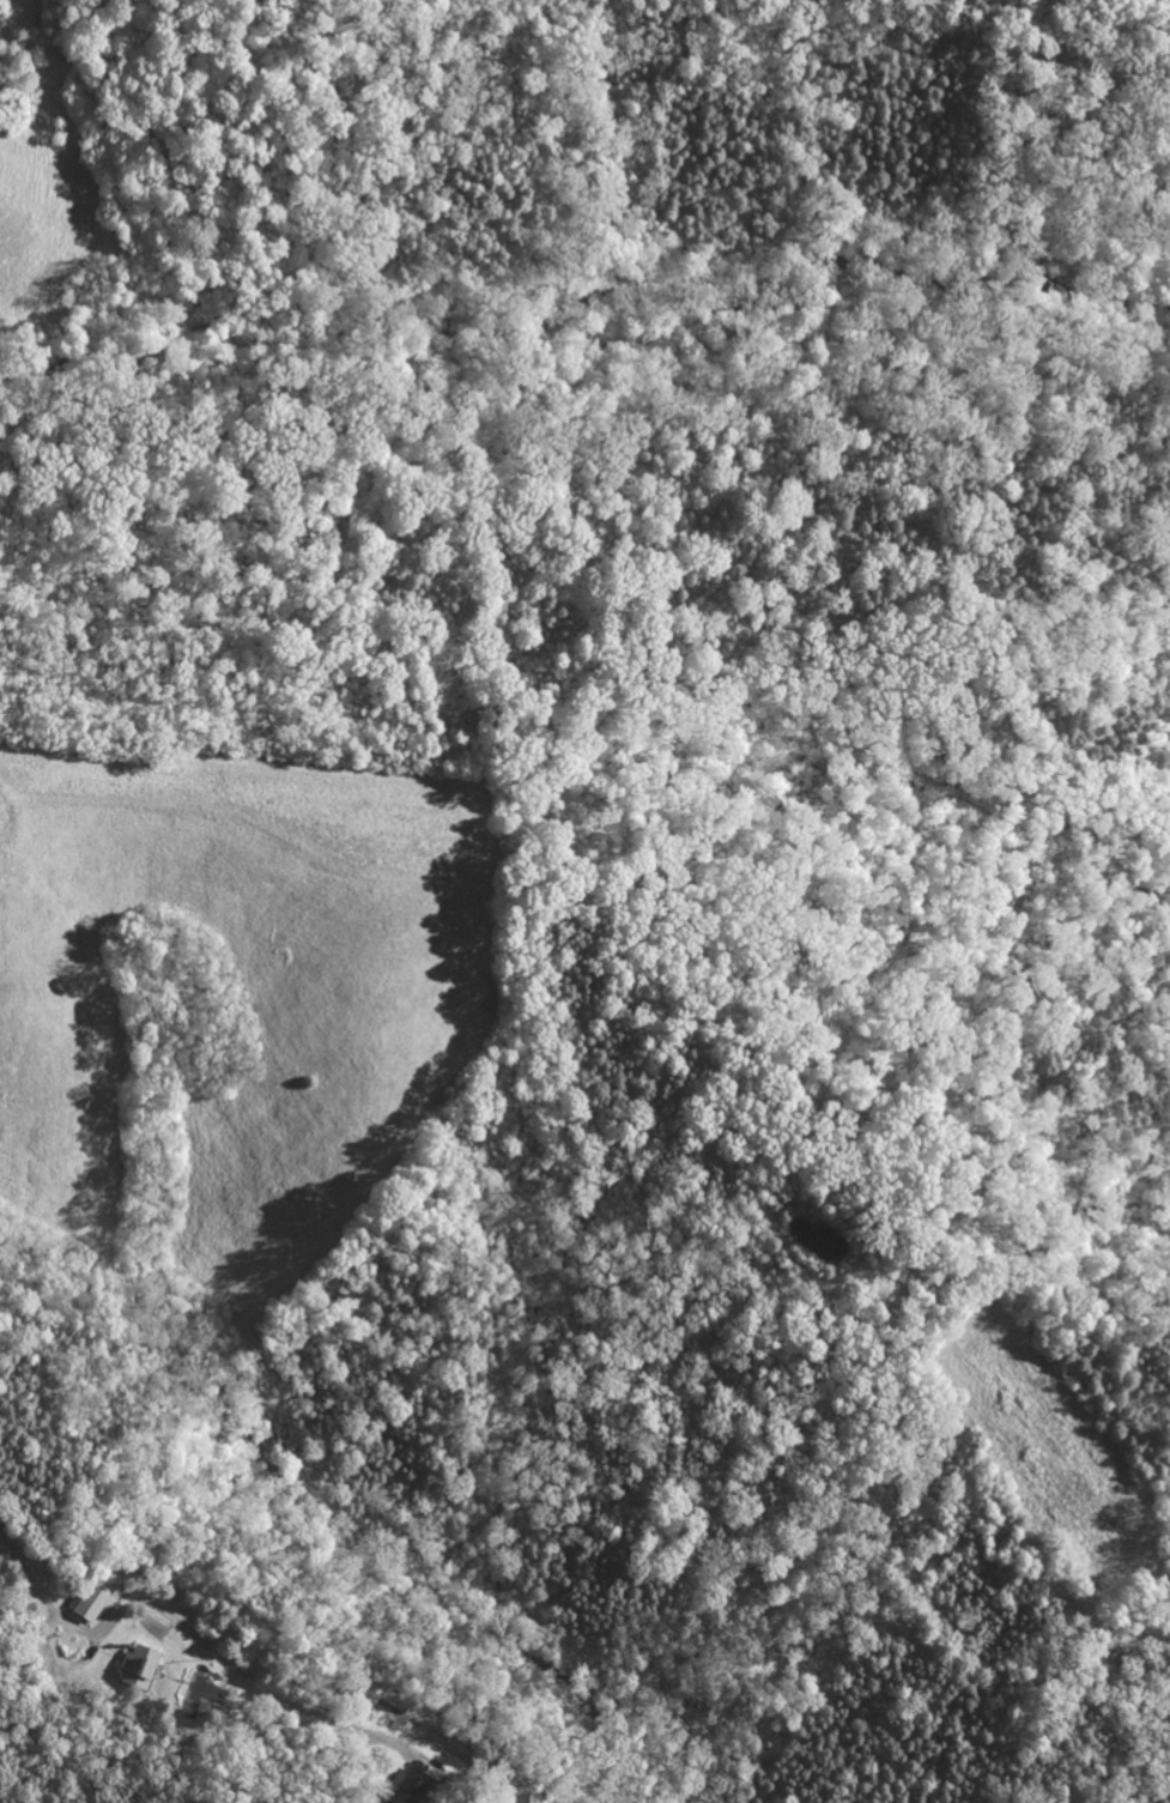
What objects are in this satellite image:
road: (36, 1587)
building: (84, 1603)
road: (224, 1658)
building: (133, 1666)
building: (401, 1785)
building: (522, 1798)

